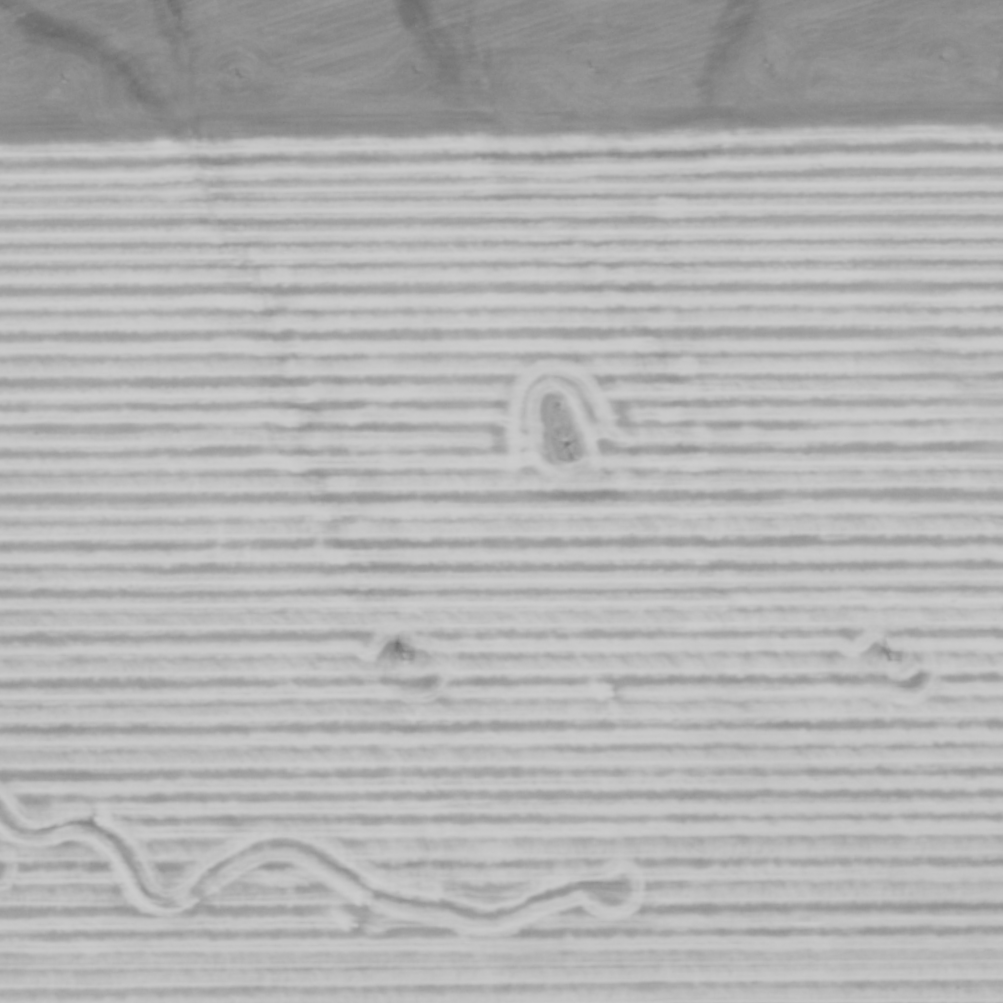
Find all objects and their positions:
crop: (501, 501)
power tower: (403, 654)
power tower: (888, 655)

